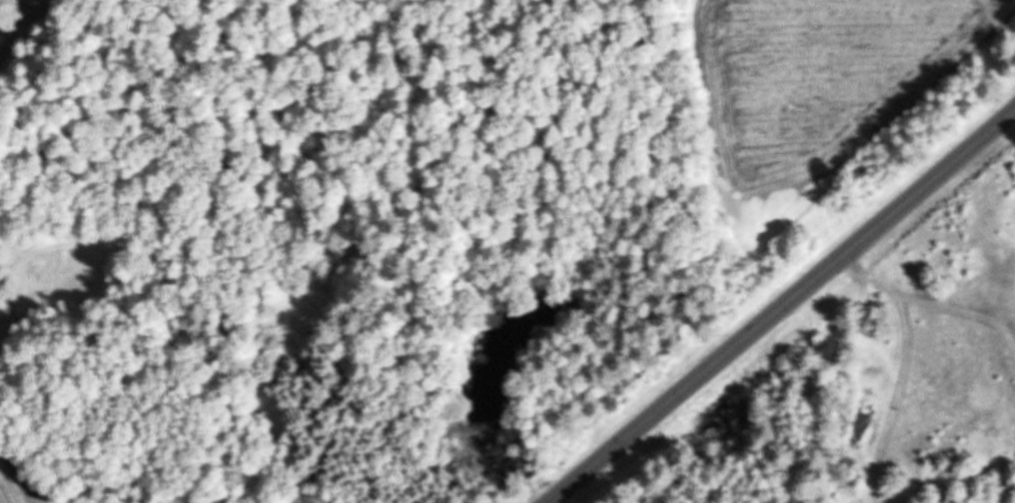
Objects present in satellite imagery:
road: (782, 307)

